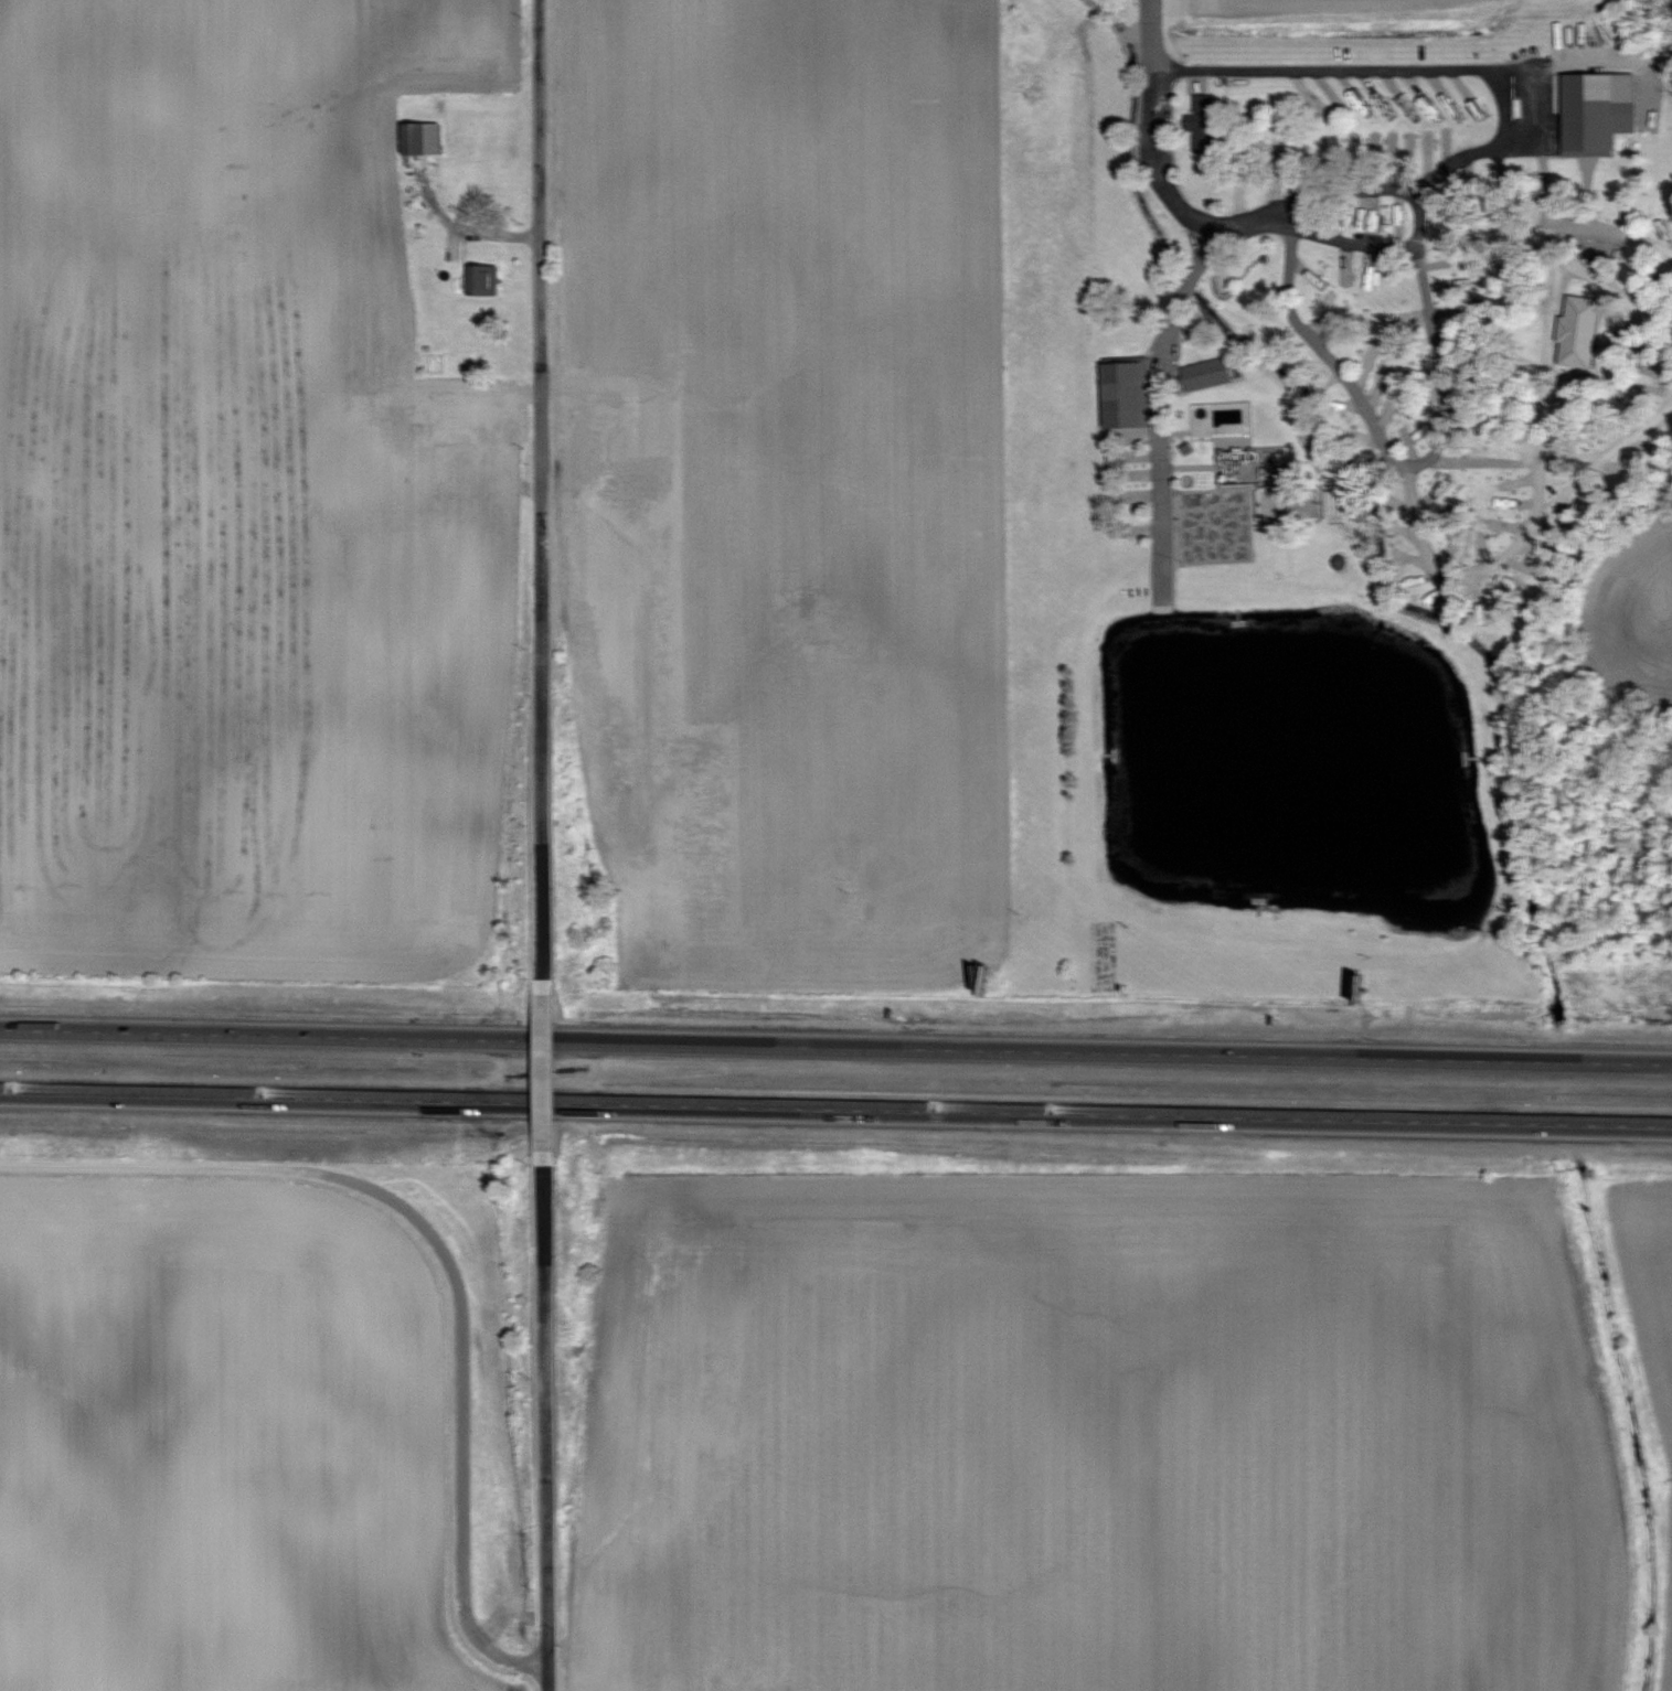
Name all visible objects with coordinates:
road: (1151, 33)
building: (1599, 109)
road: (1533, 114)
building: (1205, 122)
building: (422, 140)
road: (487, 233)
building: (482, 281)
building: (1580, 324)
road: (1169, 329)
building: (1207, 372)
building: (1127, 393)
road: (1544, 426)
road: (1394, 458)
road: (542, 500)
road: (835, 1047)
road: (546, 1070)
road: (835, 1109)
road: (443, 1252)
road: (546, 1415)

